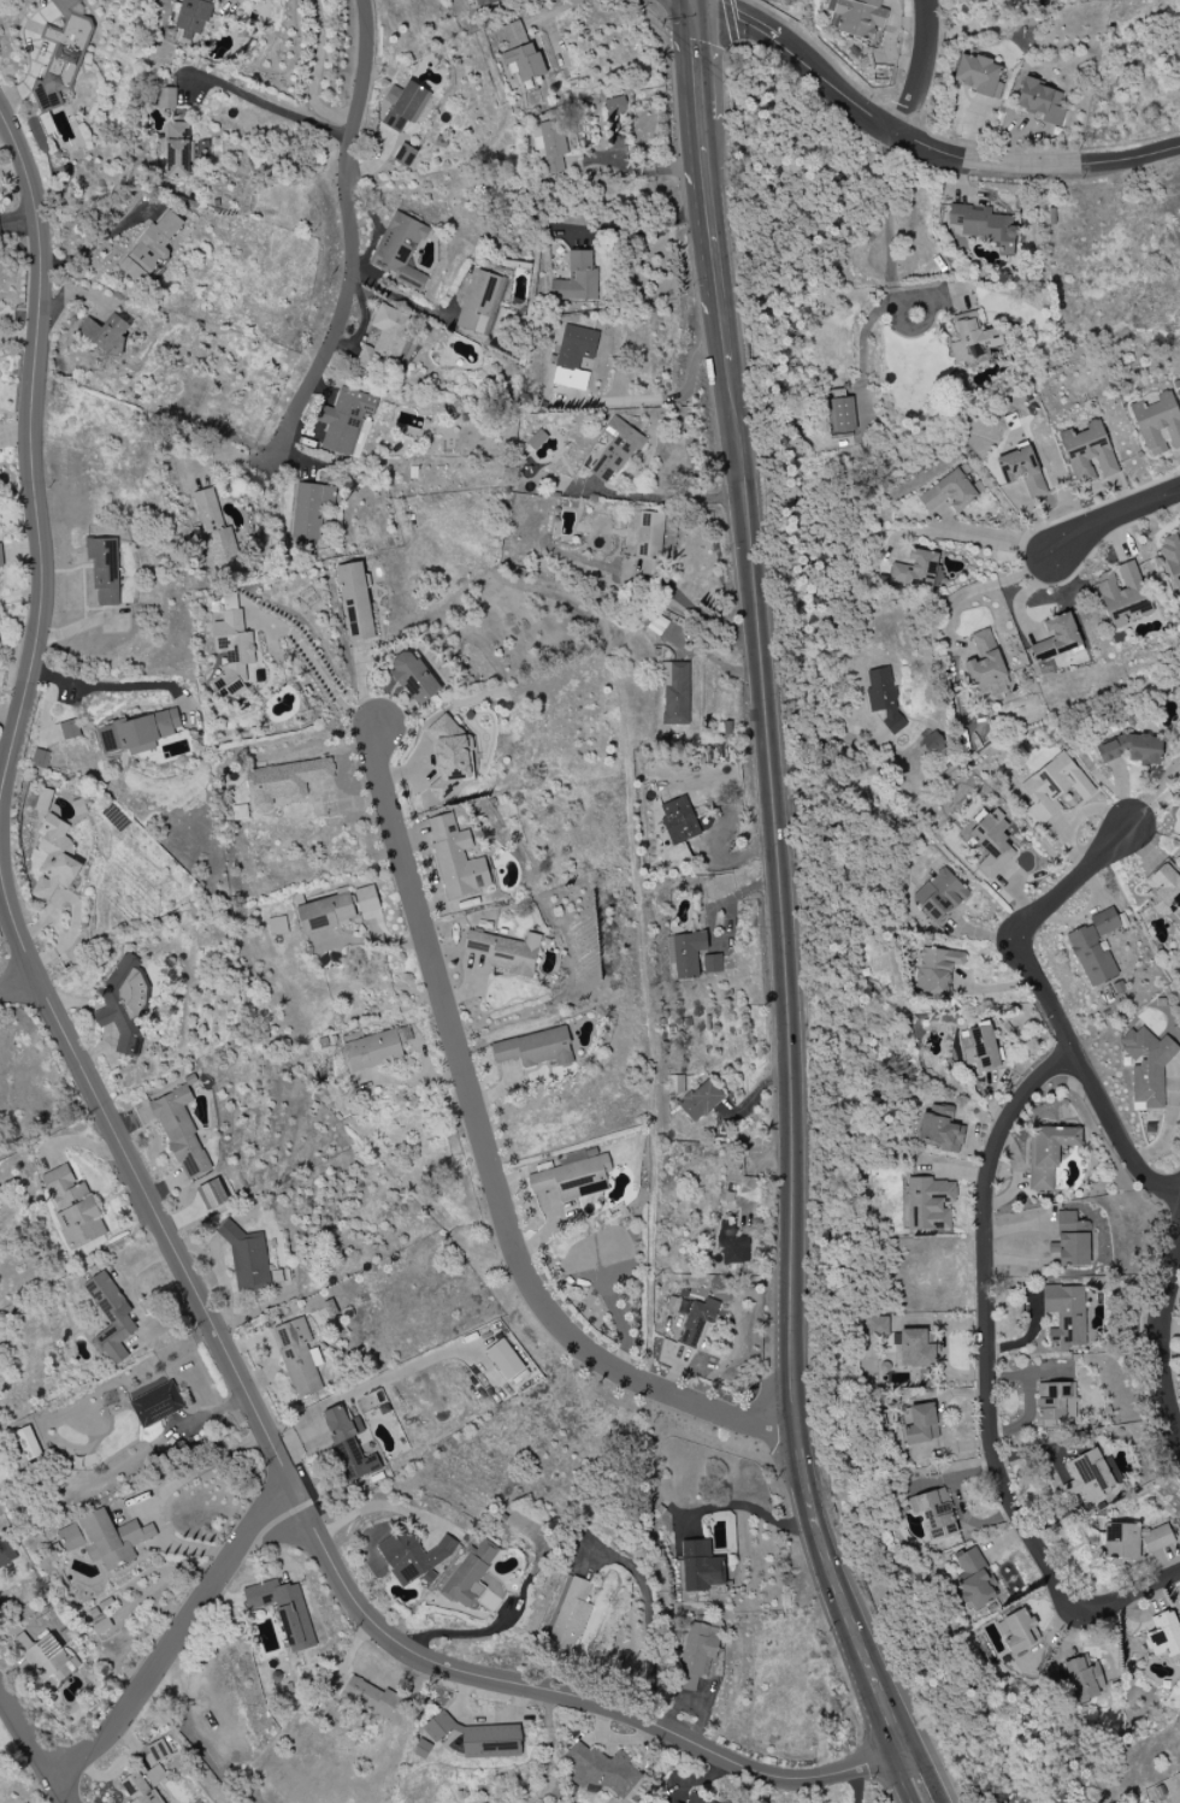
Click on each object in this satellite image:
road: (230, 1)
road: (689, 1)
road: (692, 1)
building: (485, 2)
traffic signals: (694, 4)
building: (195, 14)
building: (859, 17)
building: (63, 53)
building: (520, 53)
road: (696, 61)
road: (919, 70)
road: (313, 73)
building: (979, 75)
building: (166, 97)
building: (1040, 101)
building: (407, 106)
building: (614, 106)
road: (272, 110)
road: (872, 122)
building: (549, 144)
building: (177, 149)
building: (405, 155)
road: (1122, 159)
road: (642, 171)
road: (707, 217)
road: (18, 223)
building: (984, 225)
road: (349, 229)
road: (632, 230)
building: (152, 250)
building: (400, 250)
road: (889, 252)
building: (577, 279)
road: (400, 297)
building: (478, 301)
building: (105, 332)
road: (722, 338)
building: (387, 341)
building: (973, 343)
building: (577, 353)
road: (659, 401)
building: (840, 415)
building: (346, 420)
building: (1157, 424)
building: (537, 439)
building: (615, 450)
building: (1088, 451)
building: (1022, 472)
building: (950, 492)
road: (663, 498)
building: (309, 510)
road: (1110, 515)
building: (216, 531)
road: (993, 536)
building: (649, 542)
building: (1172, 558)
building: (104, 569)
building: (918, 571)
road: (654, 583)
road: (978, 591)
building: (229, 602)
building: (355, 602)
building: (1057, 638)
building: (232, 654)
road: (317, 664)
building: (985, 666)
building: (413, 678)
road: (113, 687)
building: (674, 692)
building: (883, 697)
building: (69, 729)
building: (137, 732)
building: (449, 756)
building: (40, 758)
building: (284, 781)
building: (1054, 787)
road: (1151, 794)
building: (43, 800)
building: (679, 821)
building: (993, 843)
building: (54, 858)
building: (456, 858)
building: (1163, 889)
building: (939, 894)
building: (366, 899)
building: (326, 912)
building: (277, 926)
building: (1095, 948)
building: (506, 952)
building: (685, 953)
building: (712, 963)
building: (937, 970)
road: (23, 991)
building: (123, 1004)
road: (1052, 1009)
building: (535, 1048)
building: (979, 1048)
building: (372, 1051)
road: (791, 1065)
building: (1147, 1065)
building: (701, 1100)
building: (937, 1128)
building: (181, 1133)
building: (1049, 1153)
road: (488, 1157)
road: (129, 1159)
building: (573, 1175)
building: (212, 1194)
building: (930, 1204)
building: (73, 1208)
building: (1072, 1241)
building: (732, 1243)
building: (249, 1261)
building: (1064, 1314)
building: (111, 1318)
building: (696, 1319)
building: (877, 1325)
road: (1161, 1340)
building: (916, 1349)
building: (297, 1358)
building: (505, 1360)
road: (991, 1376)
building: (1056, 1401)
building: (157, 1405)
building: (921, 1424)
building: (348, 1442)
building: (1087, 1476)
road: (159, 1496)
road: (377, 1506)
road: (747, 1507)
building: (934, 1513)
building: (70, 1538)
building: (111, 1538)
building: (1134, 1541)
building: (6, 1553)
building: (413, 1557)
building: (700, 1566)
building: (470, 1574)
building: (974, 1580)
building: (284, 1612)
building: (570, 1616)
road: (647, 1620)
building: (1019, 1632)
road: (181, 1633)
building: (1164, 1636)
building: (696, 1654)
building: (48, 1662)
building: (1084, 1679)
building: (374, 1699)
building: (479, 1738)
road: (34, 1749)
building: (421, 1749)
park: (22, 1766)
road: (946, 1766)
building: (602, 1771)
road: (927, 1774)
road: (903, 1779)
road: (879, 1781)
building: (138, 1789)
building: (696, 1799)

